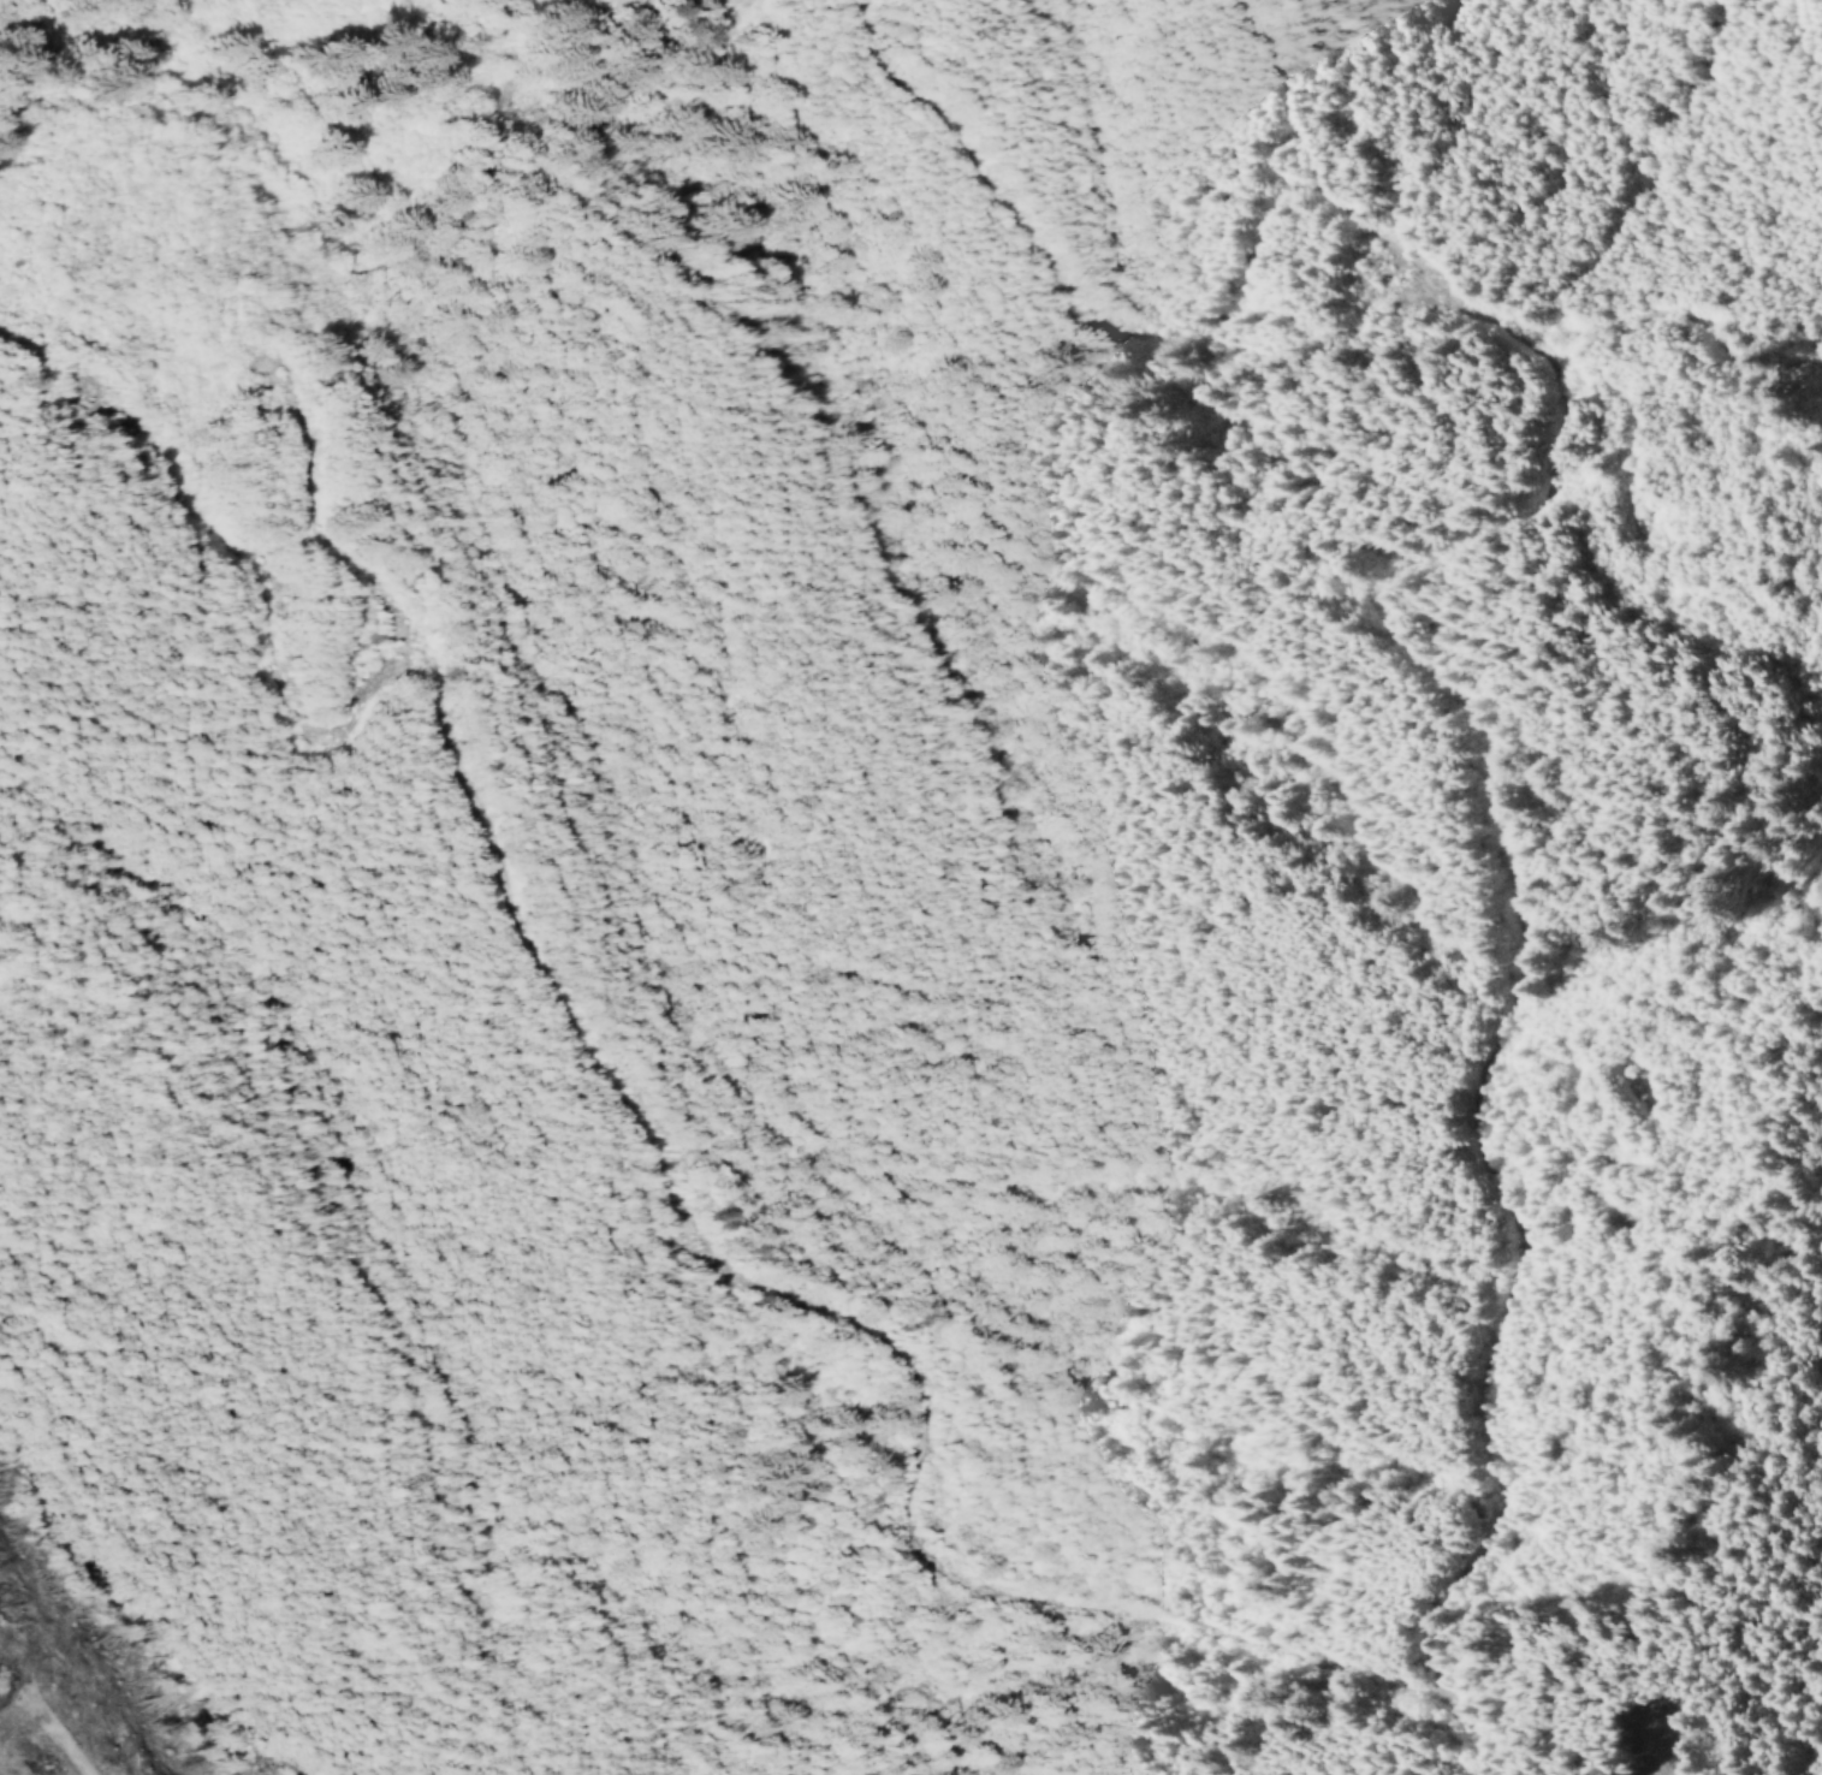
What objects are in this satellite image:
road: (1271, 1646)

